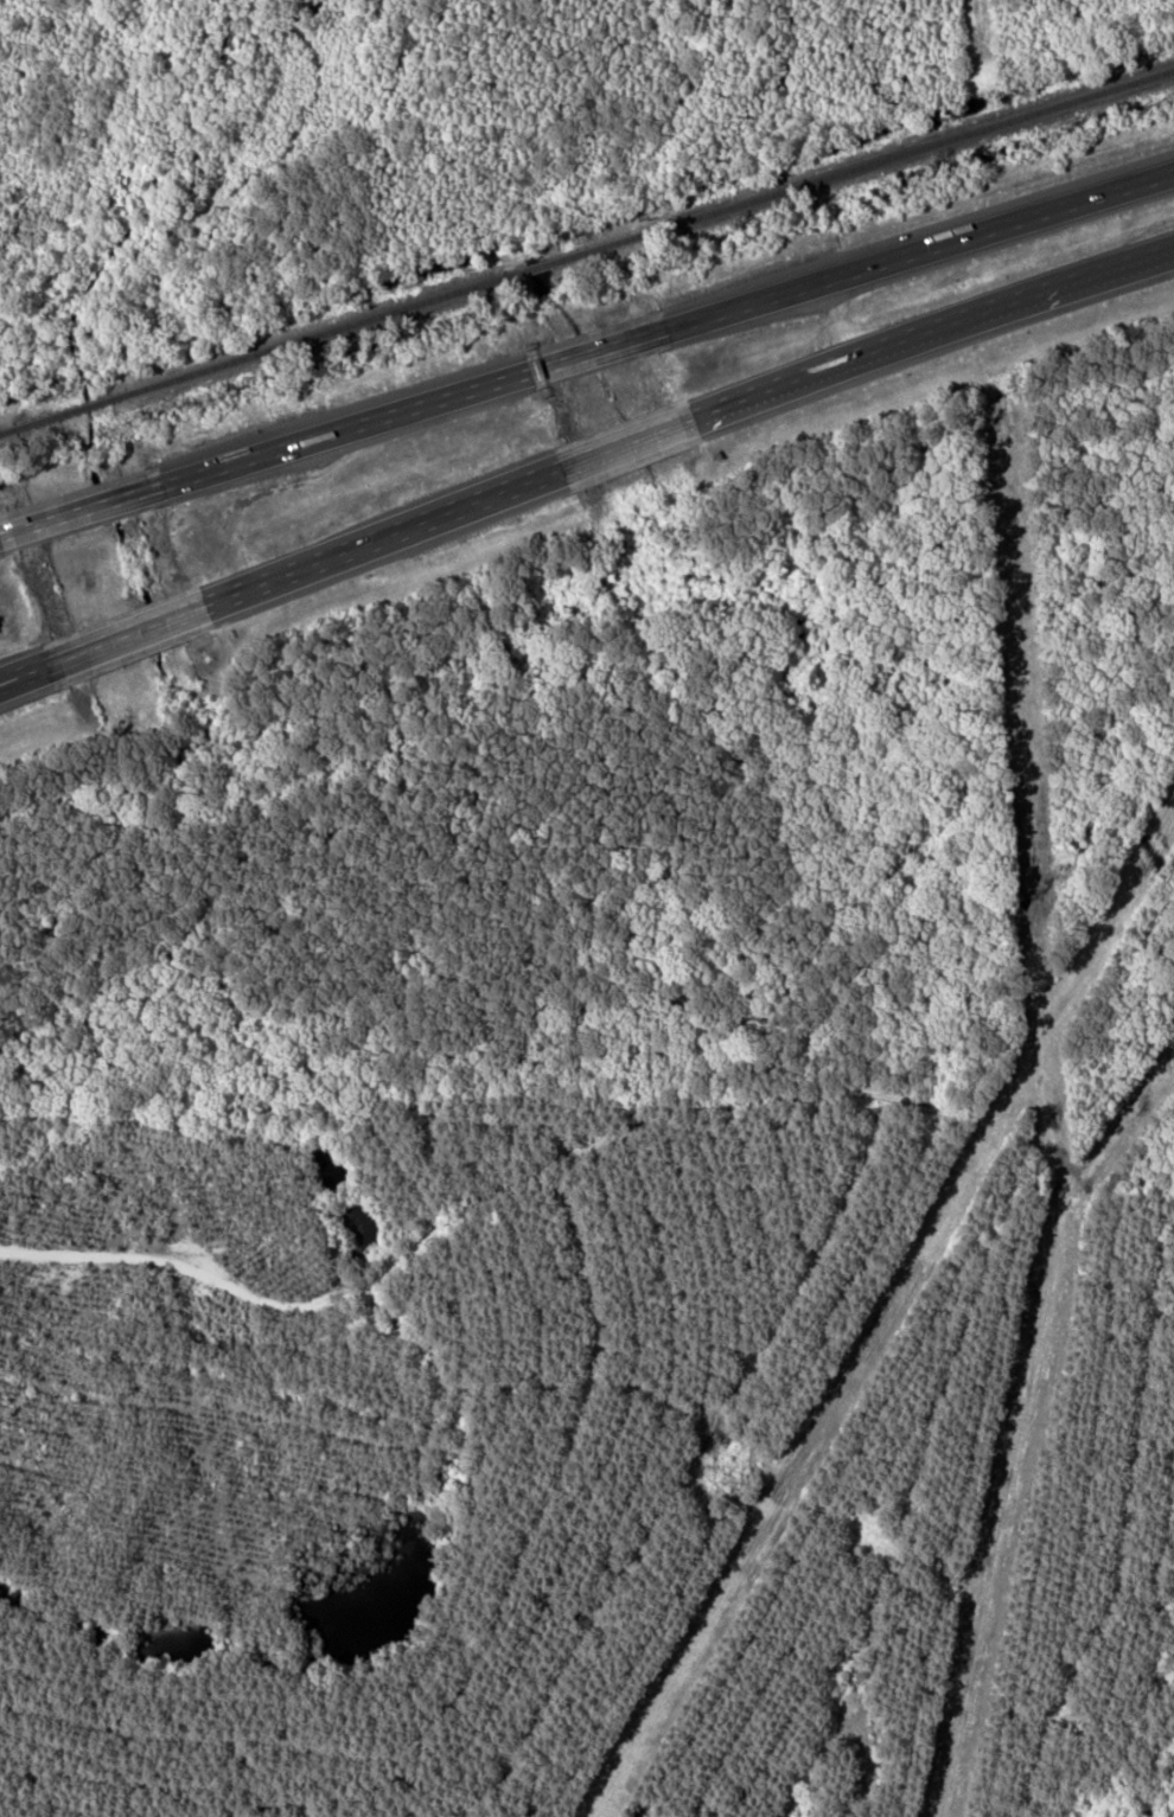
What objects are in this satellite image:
road: (923, 250)
railway: (587, 252)
road: (1029, 296)
road: (602, 350)
road: (791, 382)
road: (350, 428)
road: (630, 442)
road: (84, 511)
road: (385, 536)
road: (130, 634)
road: (28, 673)
road: (2, 682)
road: (2, 683)

